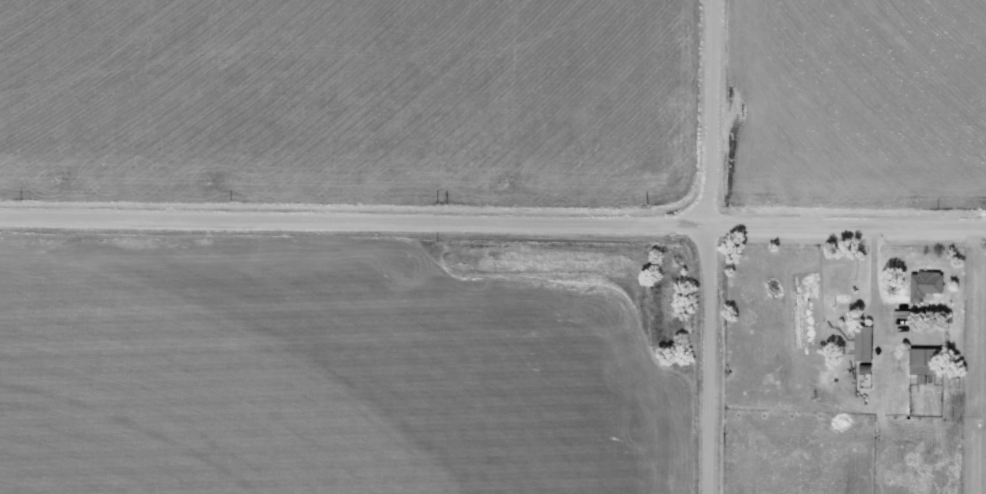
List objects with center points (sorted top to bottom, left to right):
road: (713, 110)
road: (493, 221)
building: (927, 283)
building: (867, 343)
road: (708, 357)
building: (929, 361)

